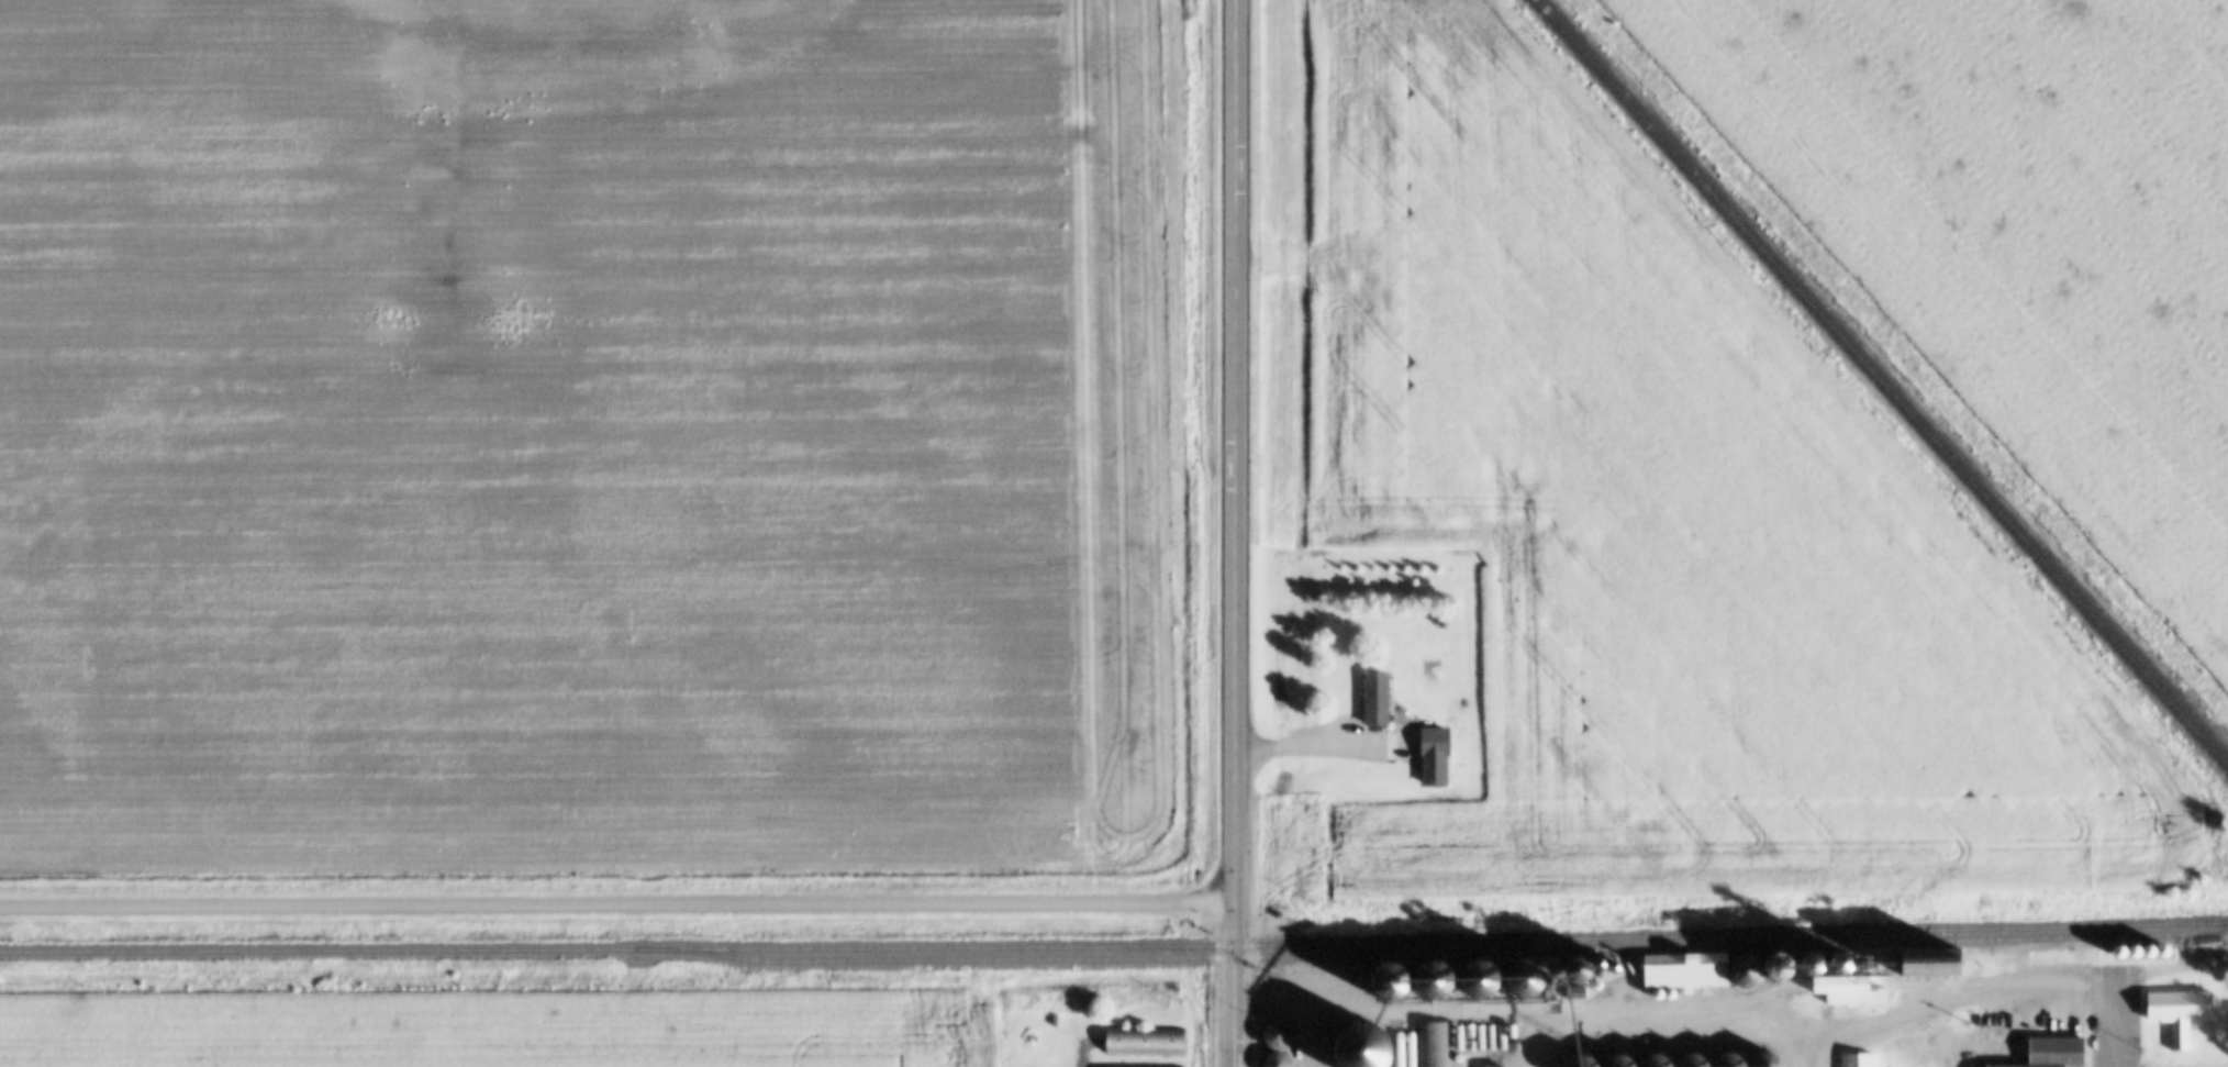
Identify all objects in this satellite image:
road: (1232, 314)
railway: (1881, 382)
building: (1381, 699)
building: (1437, 741)
road: (1313, 747)
road: (1232, 765)
road: (616, 907)
railway: (1114, 946)
railway: (1439, 952)
building: (2132, 952)
silo: (2132, 952)
building: (2147, 952)
silo: (2147, 952)
building: (2161, 952)
silo: (2161, 952)
building: (2117, 953)
silo: (2117, 953)
building: (1957, 962)
building: (1624, 964)
silo: (1624, 964)
road: (2168, 967)
building: (1636, 969)
silo: (1636, 969)
building: (1784, 970)
silo: (1784, 970)
building: (1685, 971)
building: (1747, 971)
silo: (1747, 971)
building: (1577, 972)
silo: (1577, 972)
building: (1852, 972)
building: (1525, 979)
silo: (1525, 979)
building: (1479, 980)
silo: (1479, 980)
building: (1433, 981)
silo: (1433, 981)
building: (1389, 982)
silo: (1389, 982)
road: (1233, 983)
storage tank: (1661, 996)
storage tank: (1673, 996)
building: (2177, 1013)
road: (1675, 1021)
road: (1995, 1026)
road: (2113, 1026)
building: (1277, 1035)
silo: (1277, 1035)
road: (1524, 1038)
building: (1028, 1041)
building: (1144, 1042)
building: (1432, 1044)
building: (1361, 1047)
silo: (1361, 1047)
road: (1811, 1048)
building: (2059, 1051)
building: (1859, 1059)
building: (1275, 1060)
silo: (1275, 1060)
building: (1728, 1060)
silo: (1728, 1060)
building: (1764, 1060)
silo: (1764, 1060)
building: (1617, 1062)
silo: (1617, 1062)
building: (1653, 1062)
silo: (1653, 1062)
building: (1691, 1062)
silo: (1691, 1062)
building: (1580, 1063)
silo: (1580, 1063)
building: (1027, 1064)
silo: (1027, 1064)
building: (1139, 1066)
building: (1489, 1066)
building: (2041, 1066)

